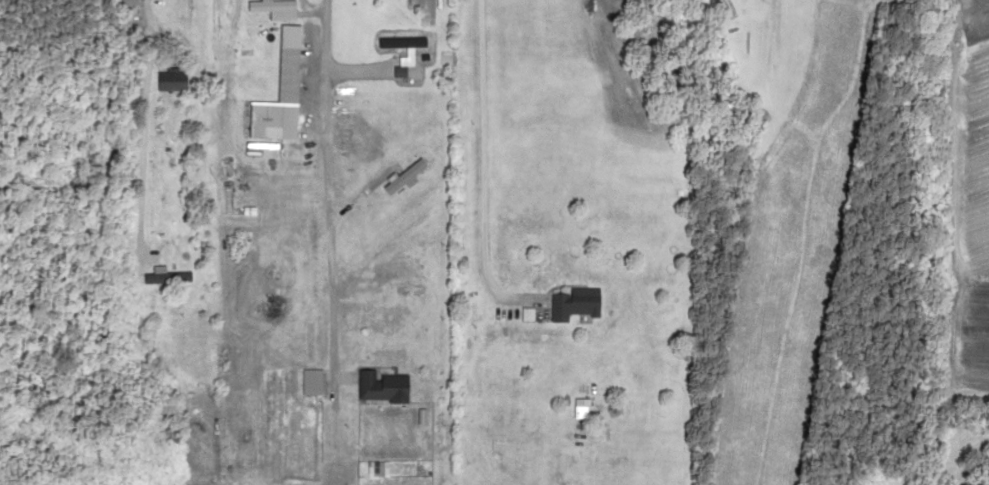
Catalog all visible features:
building: (126, 2)
road: (780, 58)
building: (168, 80)
building: (271, 108)
building: (568, 303)
building: (378, 386)

